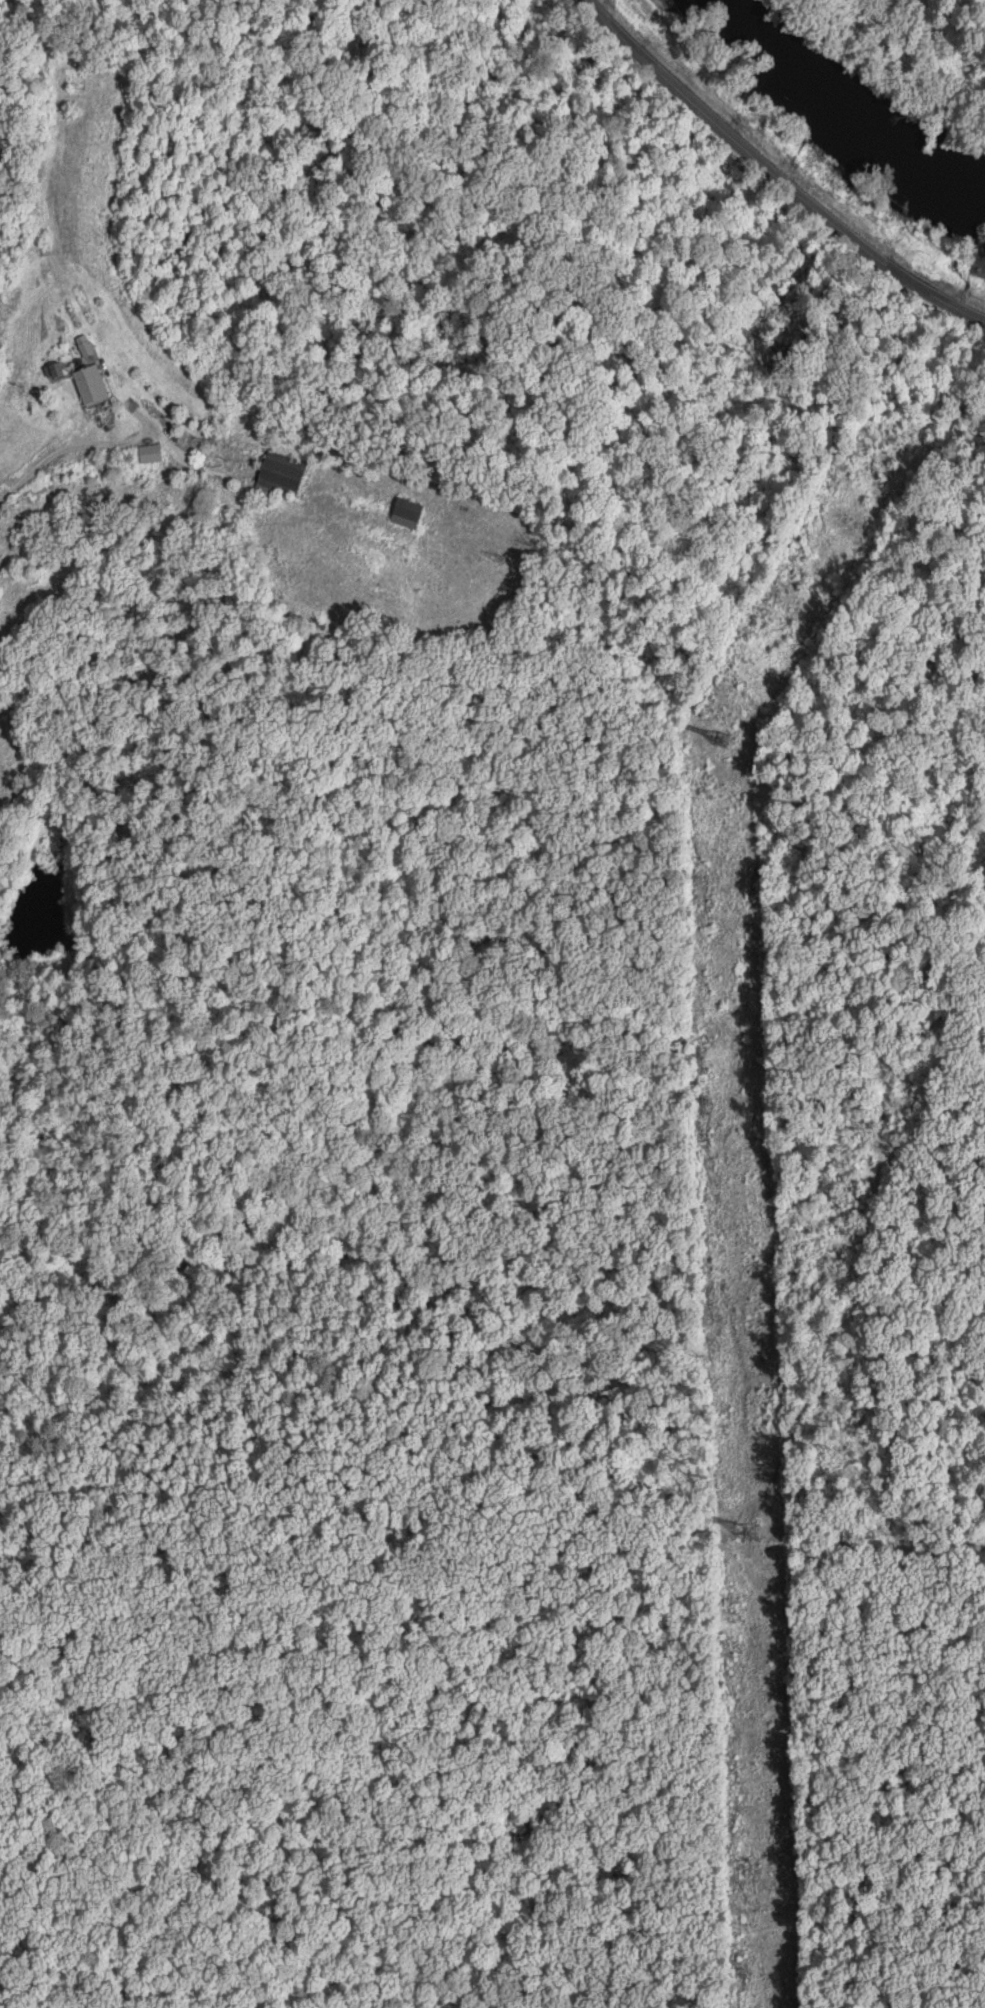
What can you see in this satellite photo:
river: (840, 107)
road: (773, 177)
building: (96, 385)
road: (69, 448)
building: (148, 454)
building: (277, 478)
building: (405, 514)

